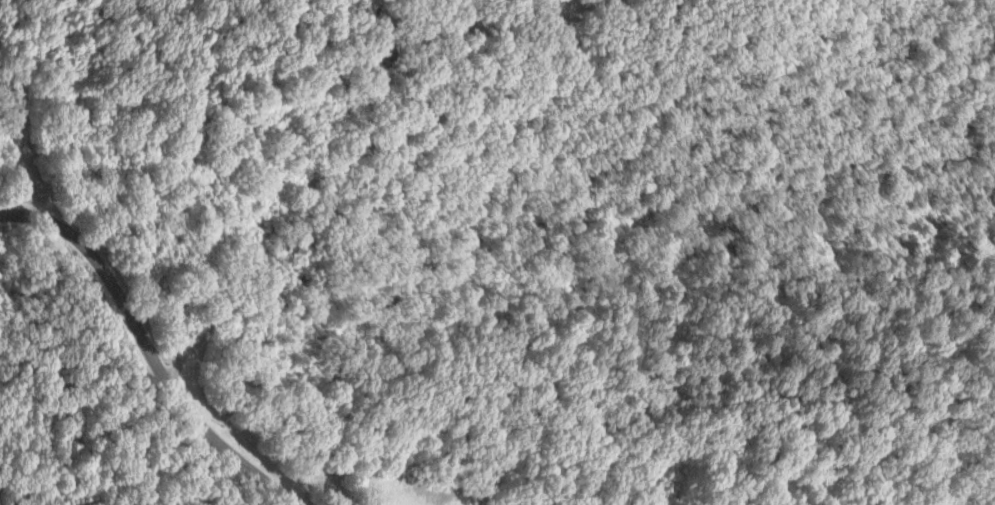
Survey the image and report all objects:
road: (357, 167)
road: (202, 189)
road: (142, 353)

